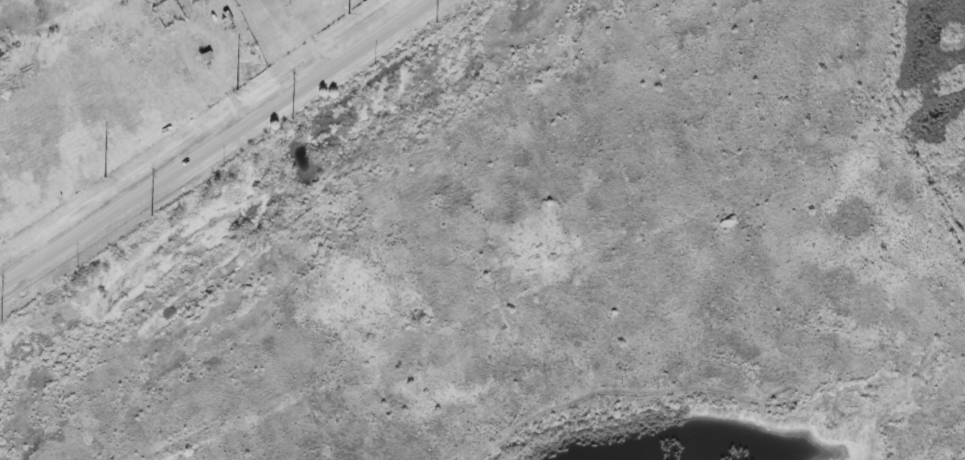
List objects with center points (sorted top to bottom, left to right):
road: (218, 143)

